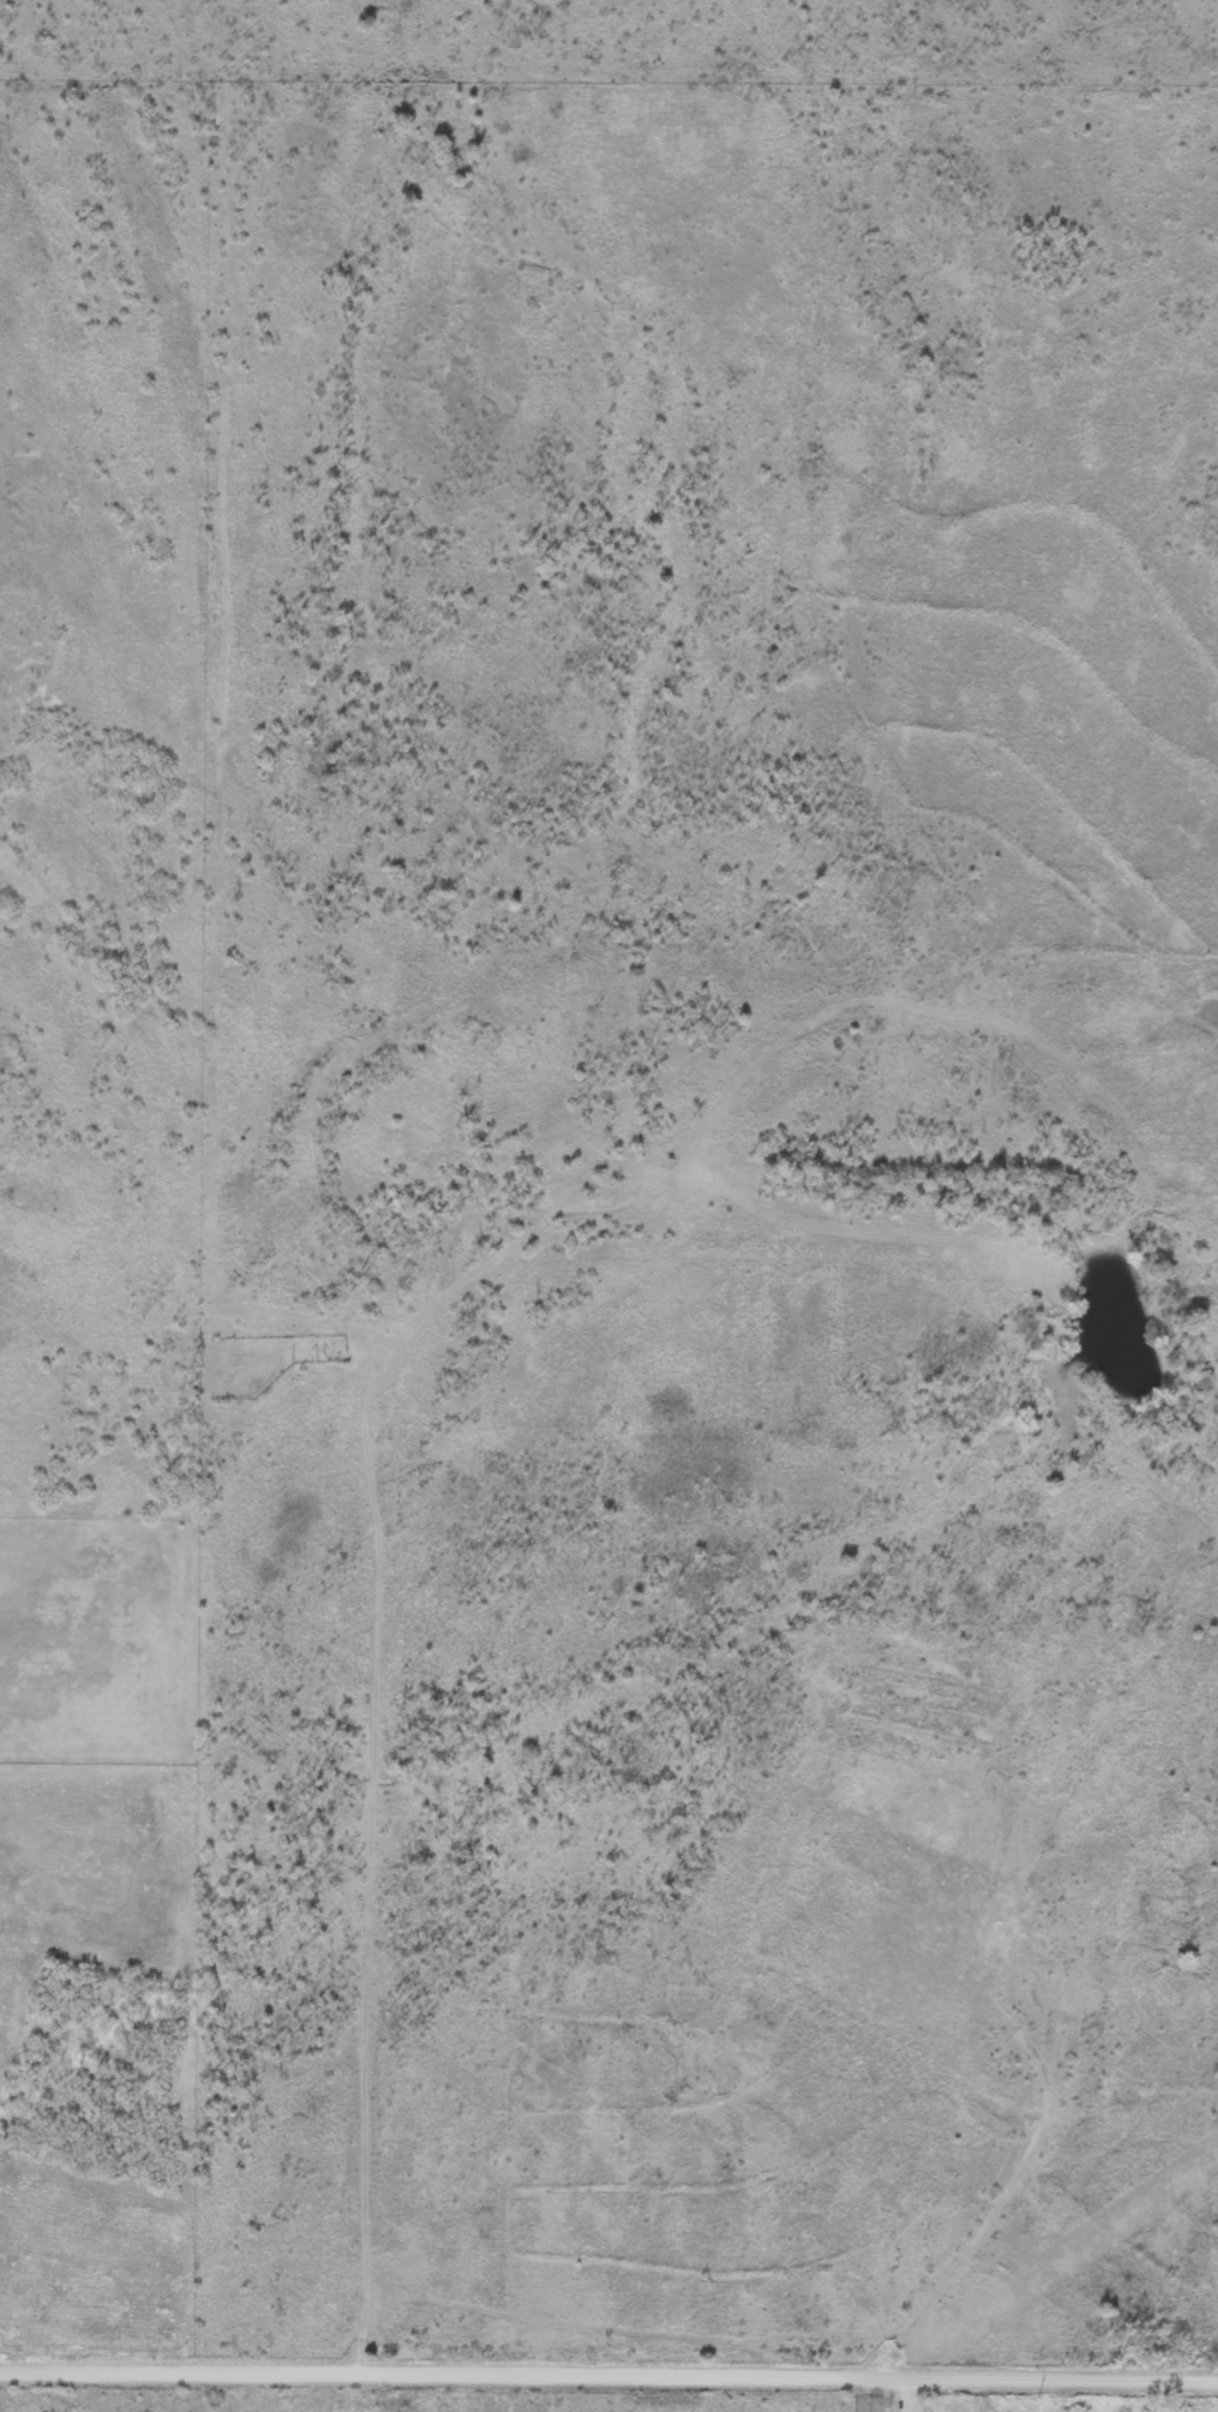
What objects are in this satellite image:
road: (608, 2376)

